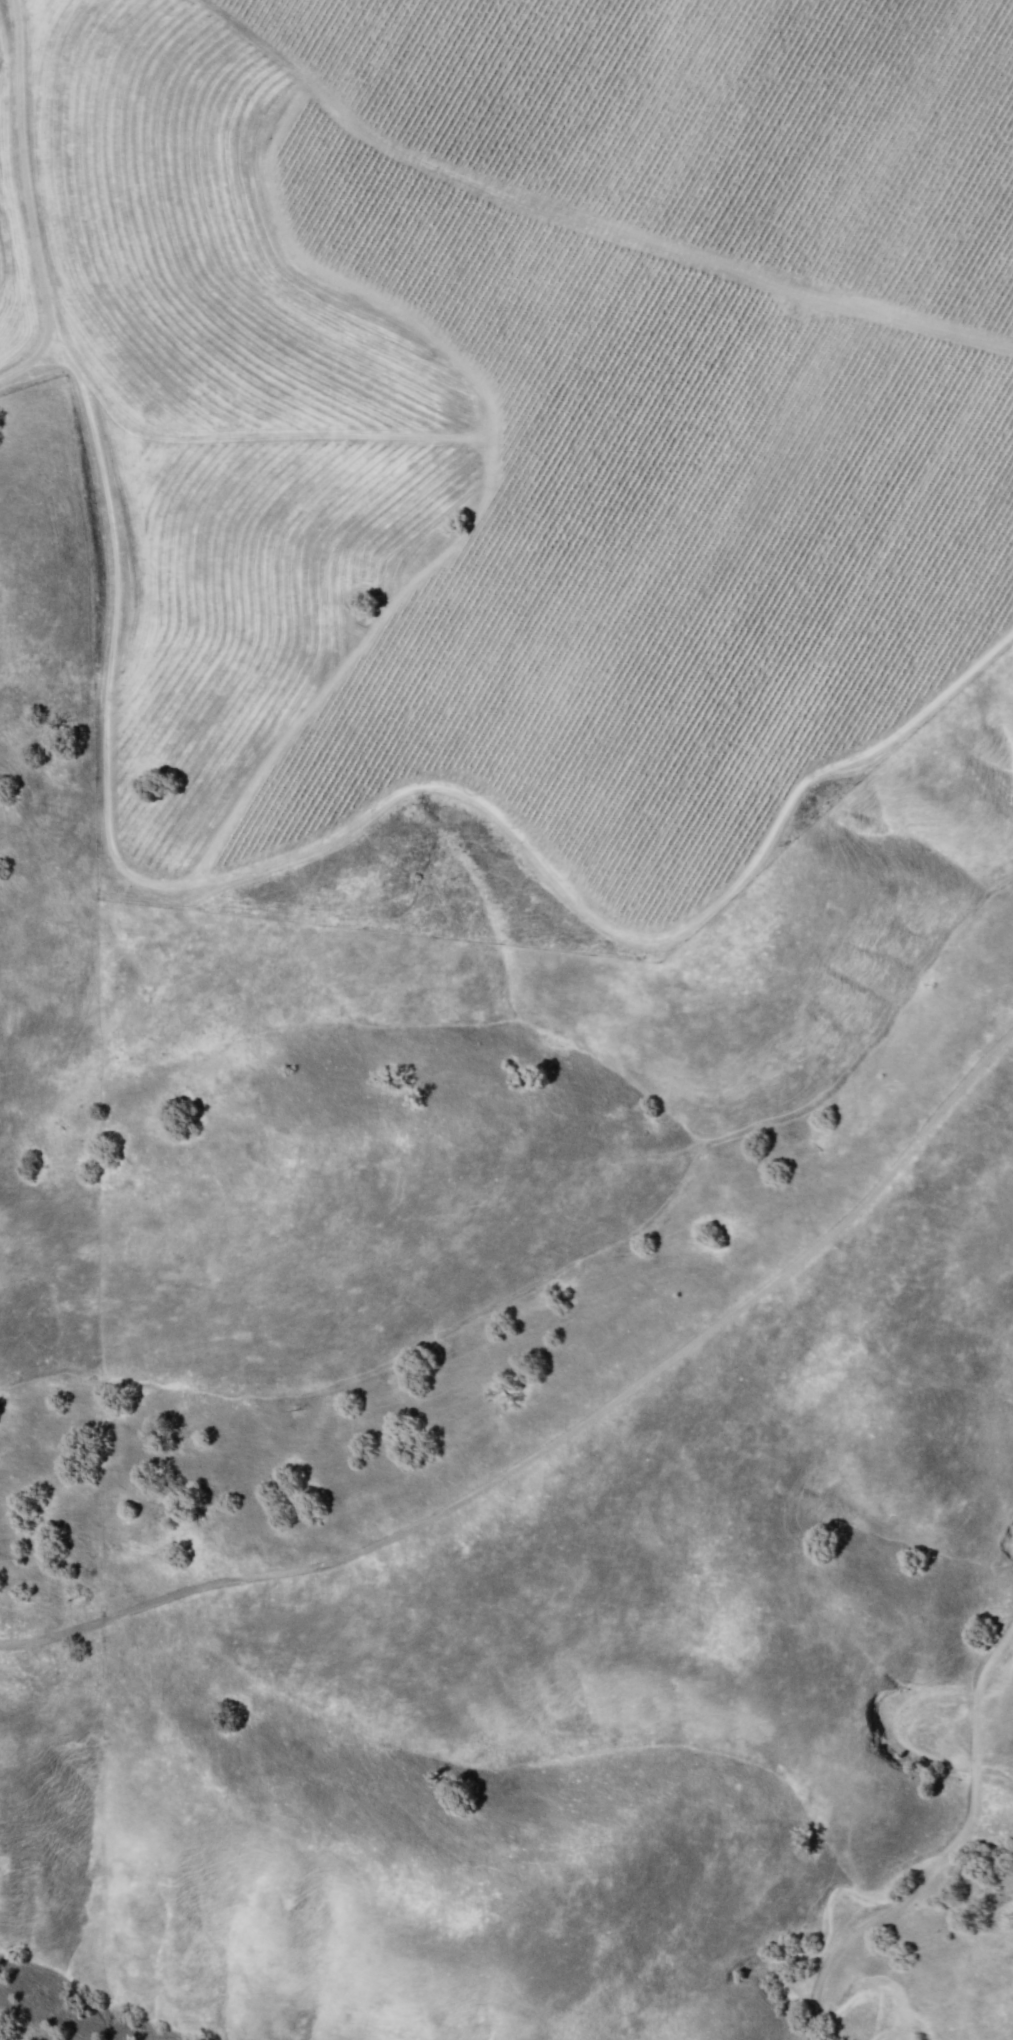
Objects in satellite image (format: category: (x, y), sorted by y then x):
road: (564, 1441)
road: (946, 1852)

